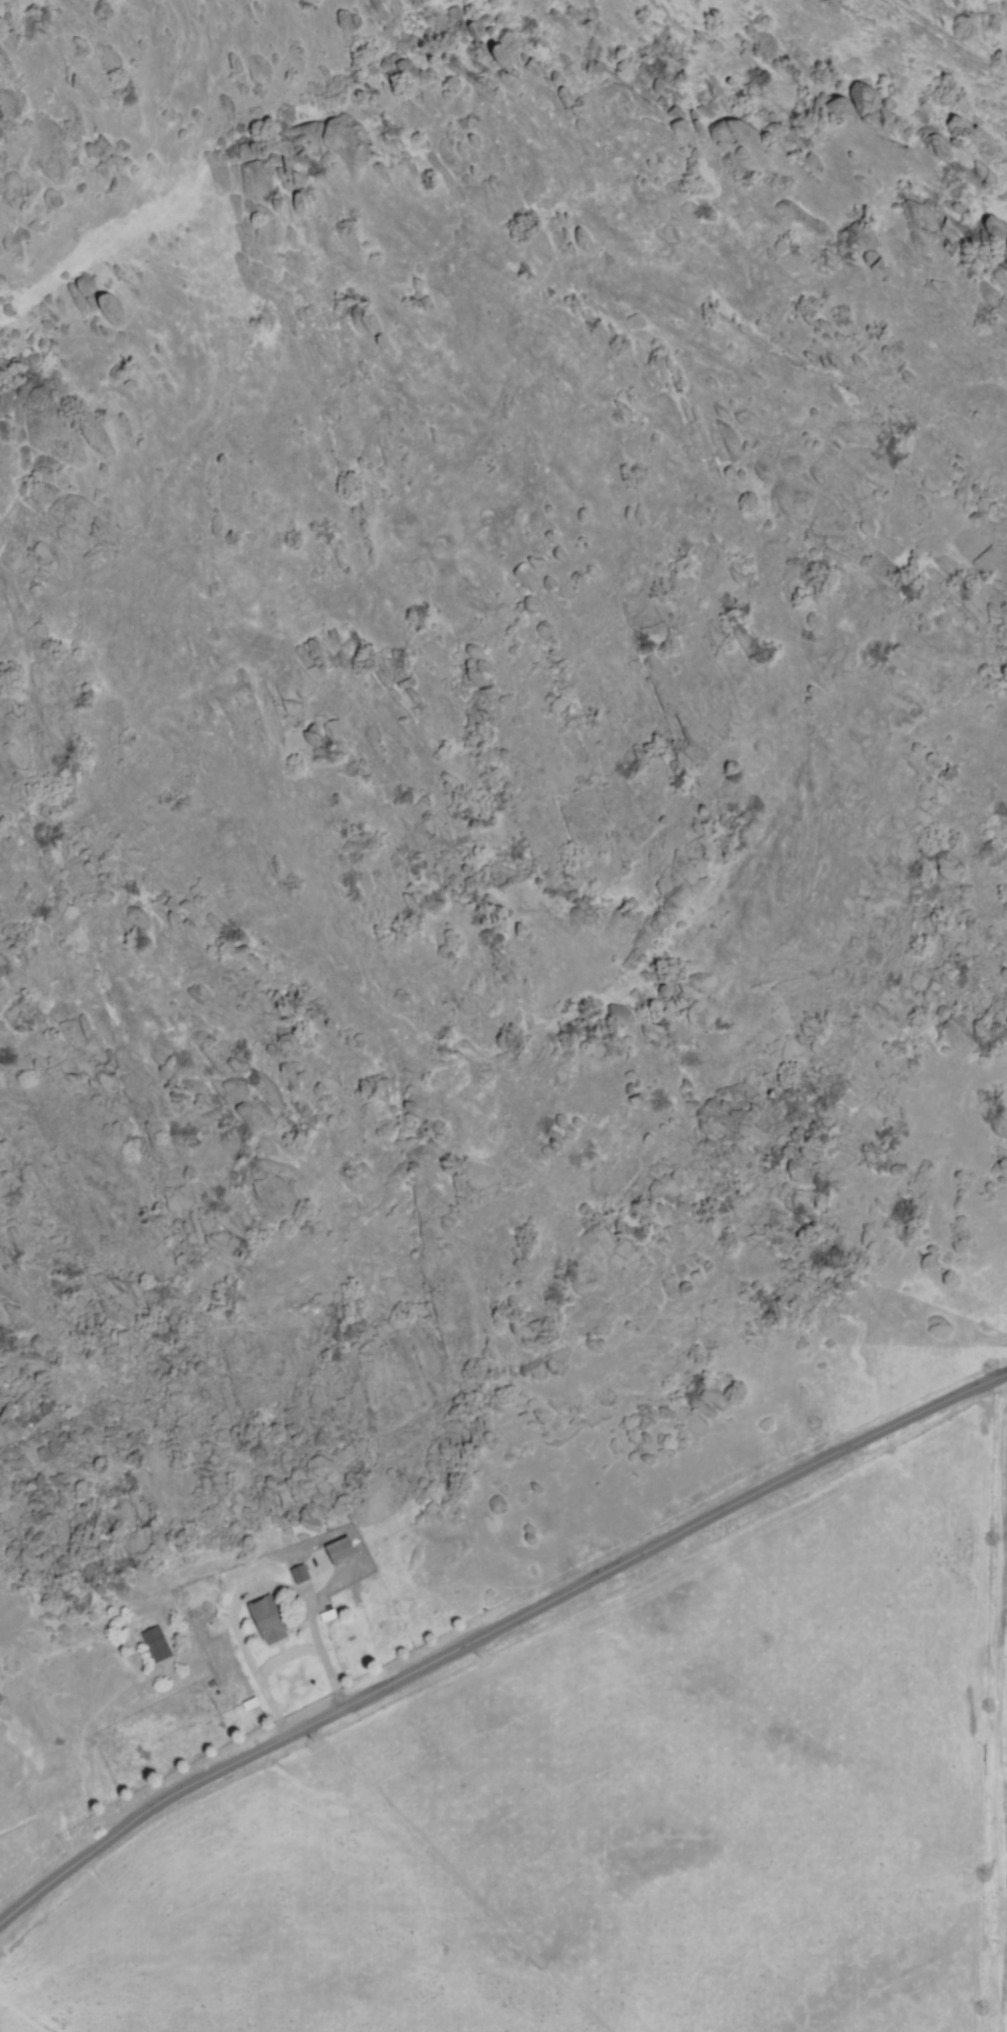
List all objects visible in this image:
road: (653, 1546)
building: (342, 1550)
building: (300, 1573)
building: (269, 1619)
crop: (580, 1747)
road: (143, 1812)
road: (449, 1880)

